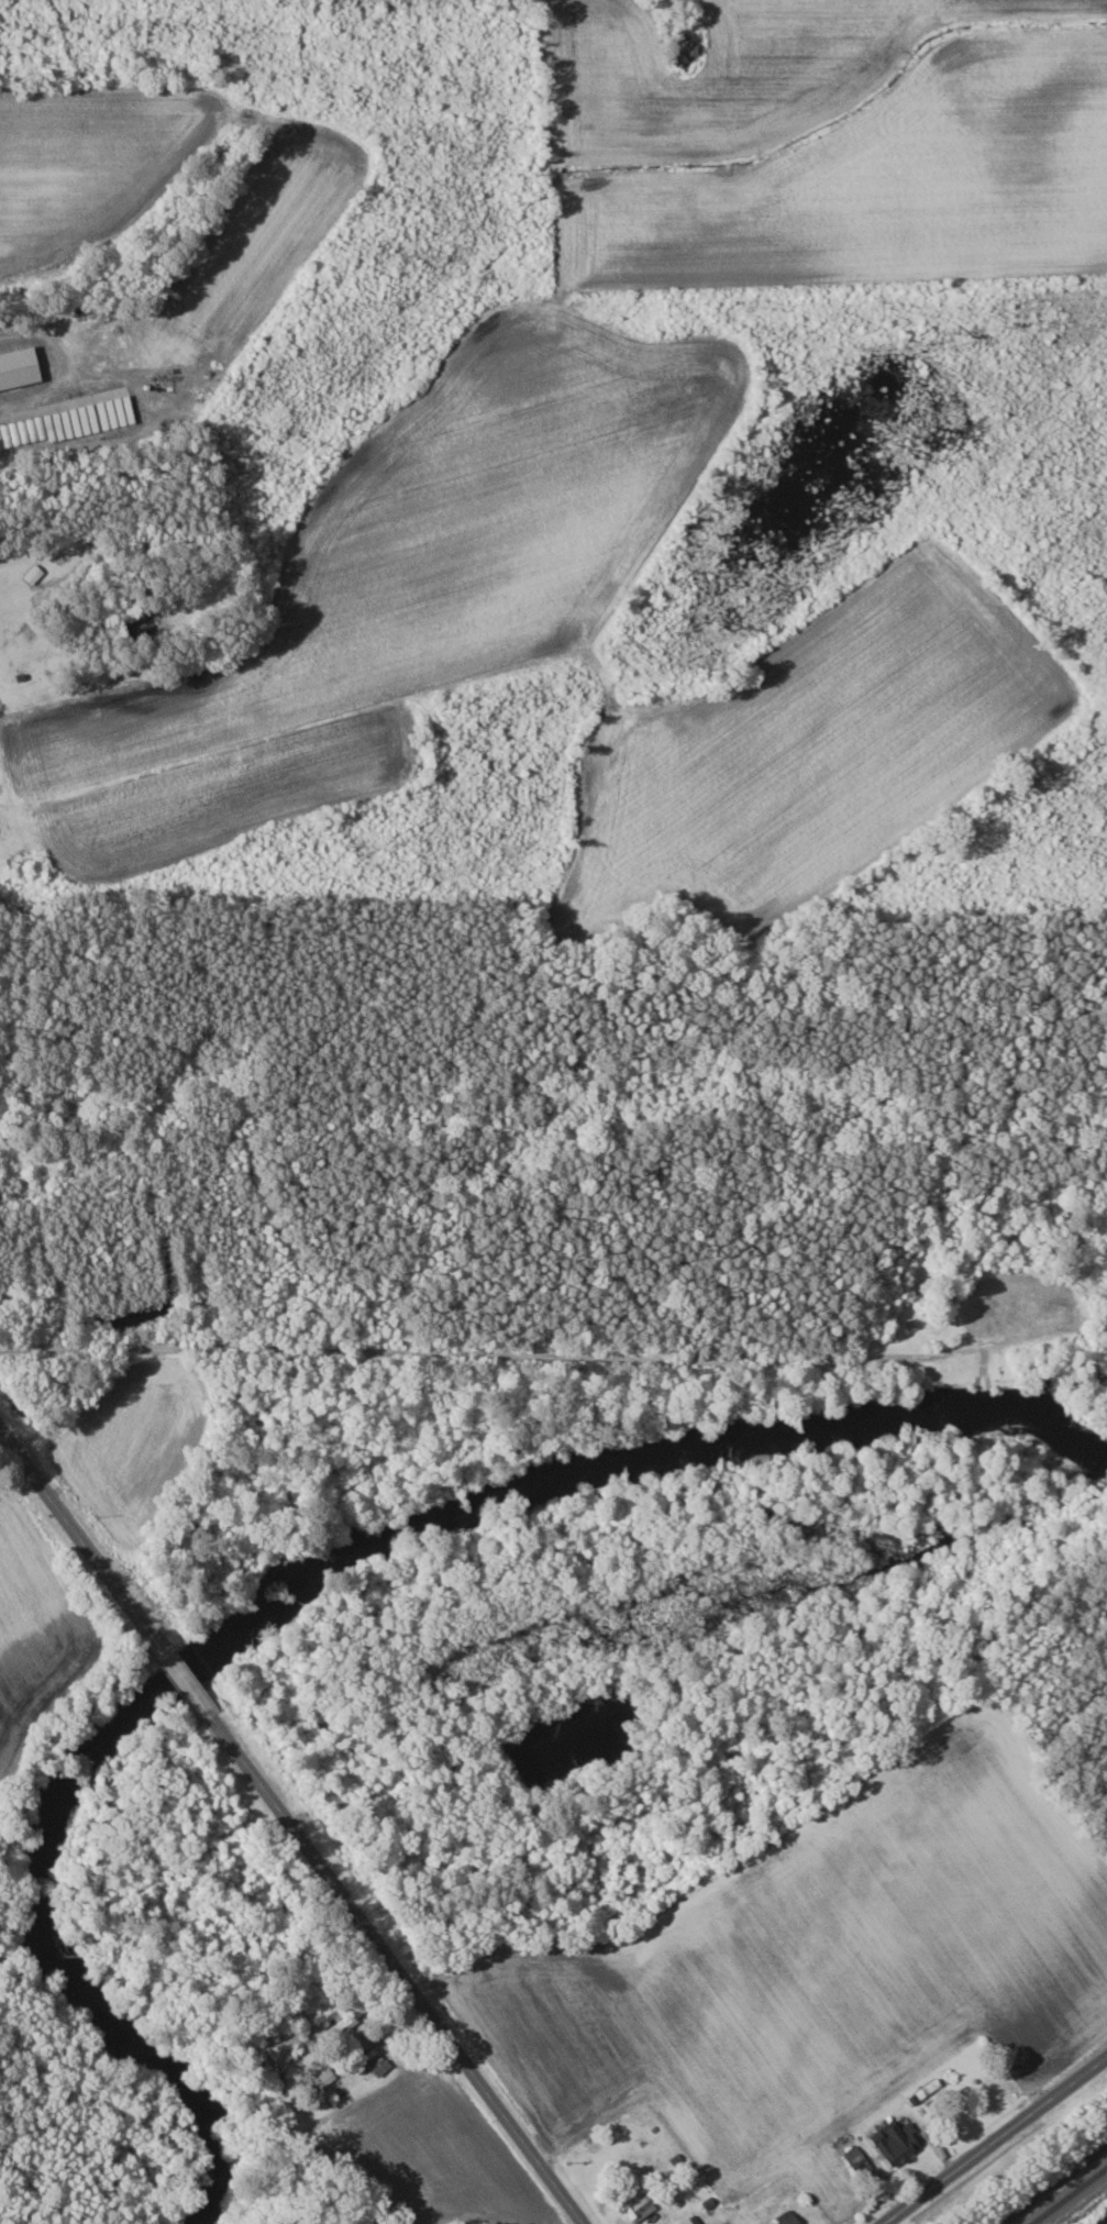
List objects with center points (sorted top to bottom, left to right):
road: (57, 367)
building: (20, 368)
road: (483, 1376)
road: (75, 1526)
river: (326, 1594)
road: (187, 1681)
road: (405, 1976)
road: (993, 2138)
building: (898, 2142)
railway: (1070, 2195)
building: (787, 2217)
building: (693, 2221)

